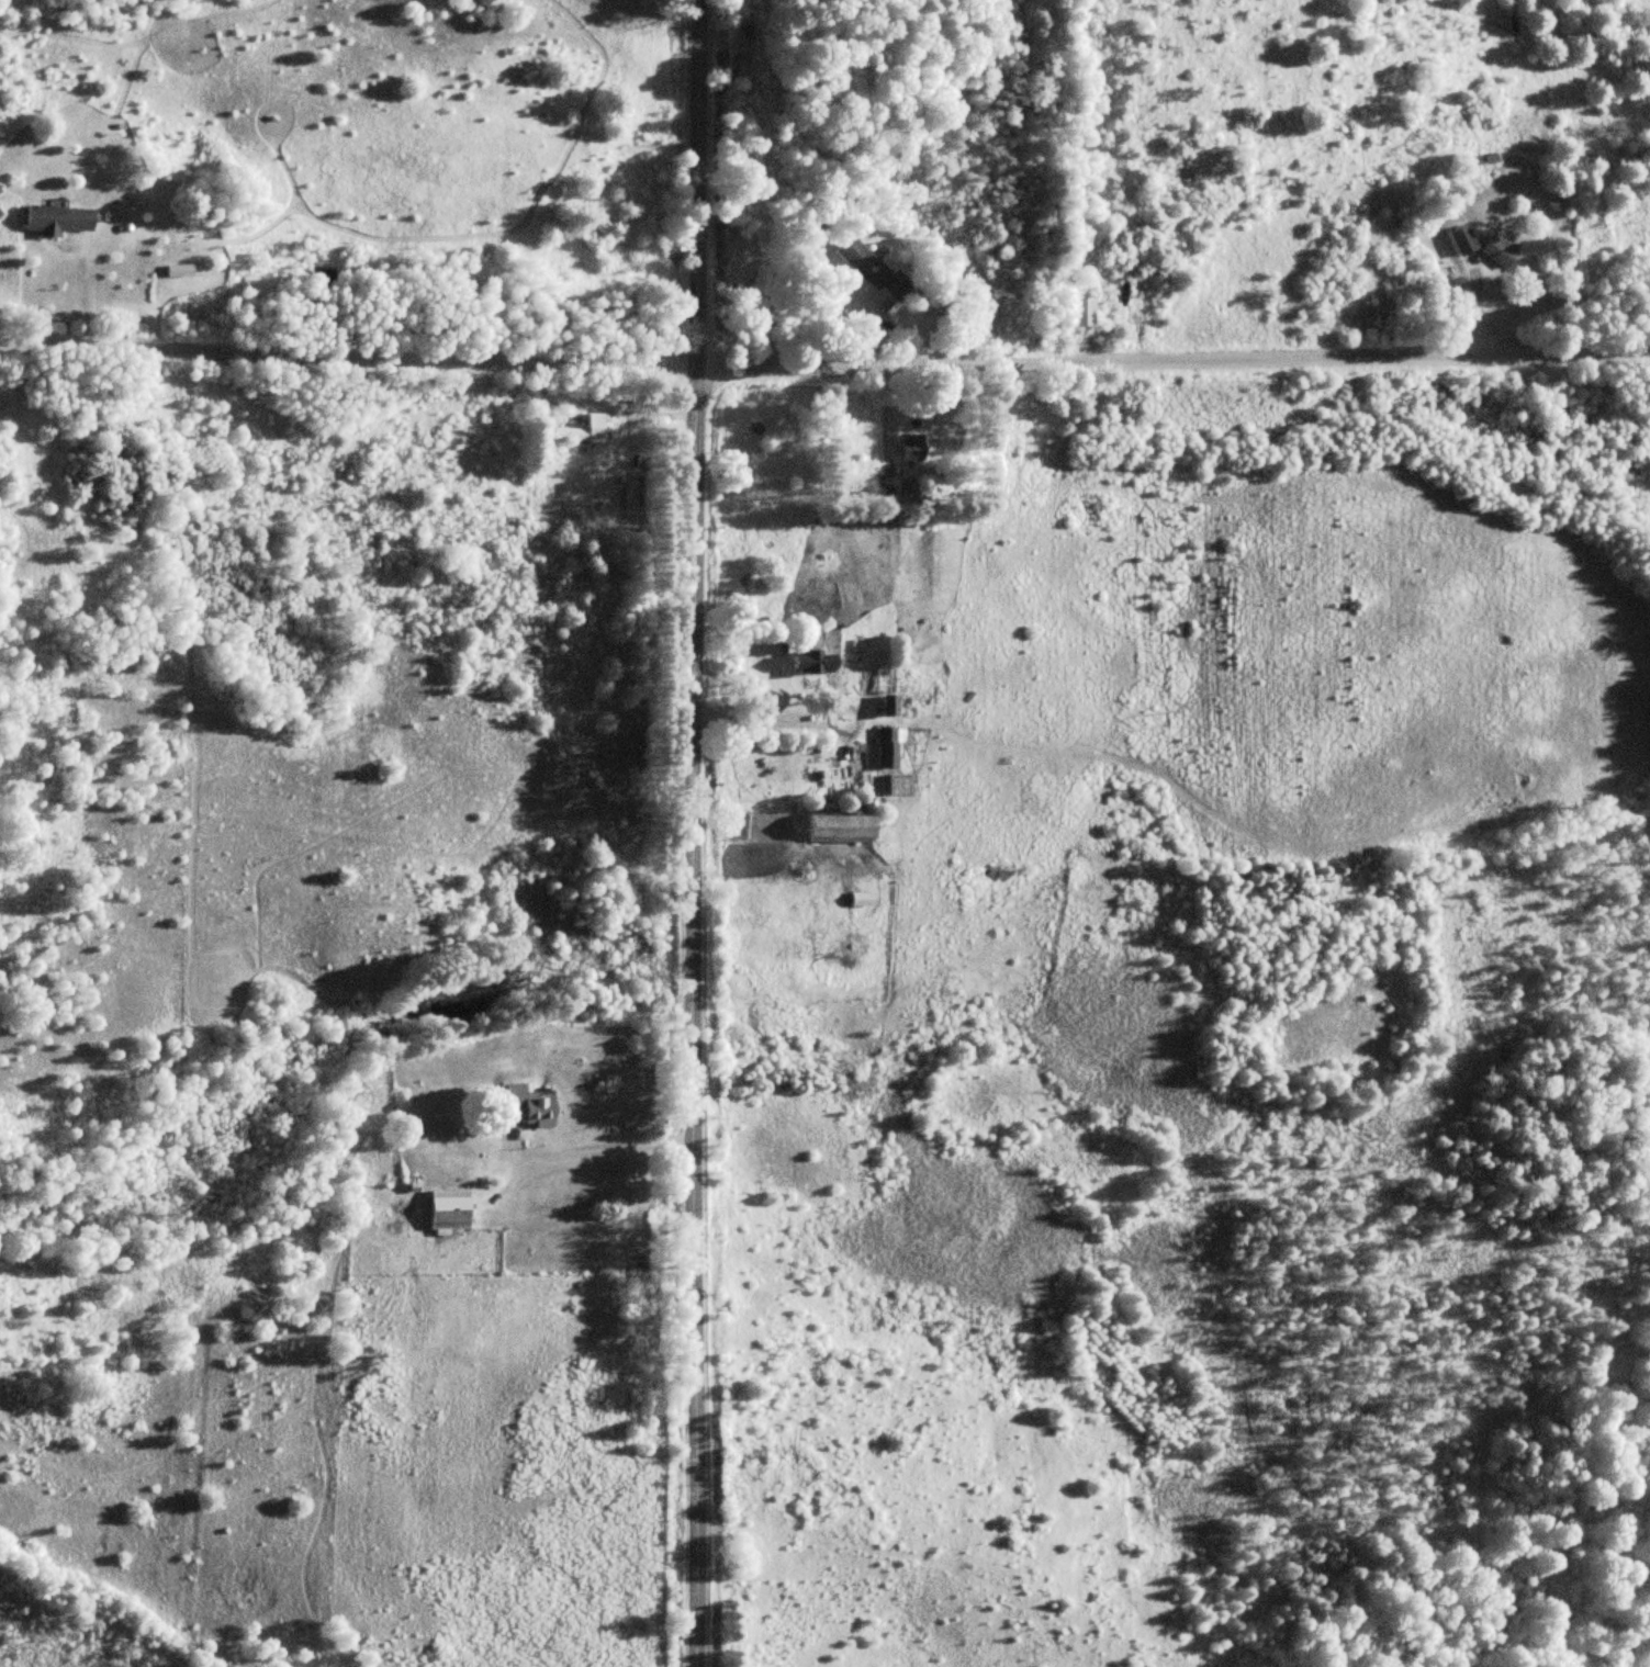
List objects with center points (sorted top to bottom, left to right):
building: (60, 219)
building: (1466, 240)
building: (1502, 251)
building: (873, 271)
building: (1084, 314)
road: (824, 365)
building: (584, 429)
building: (913, 447)
building: (817, 662)
building: (890, 707)
building: (888, 747)
building: (888, 785)
building: (842, 827)
road: (696, 833)
building: (864, 899)
building: (531, 1104)
building: (450, 1210)

